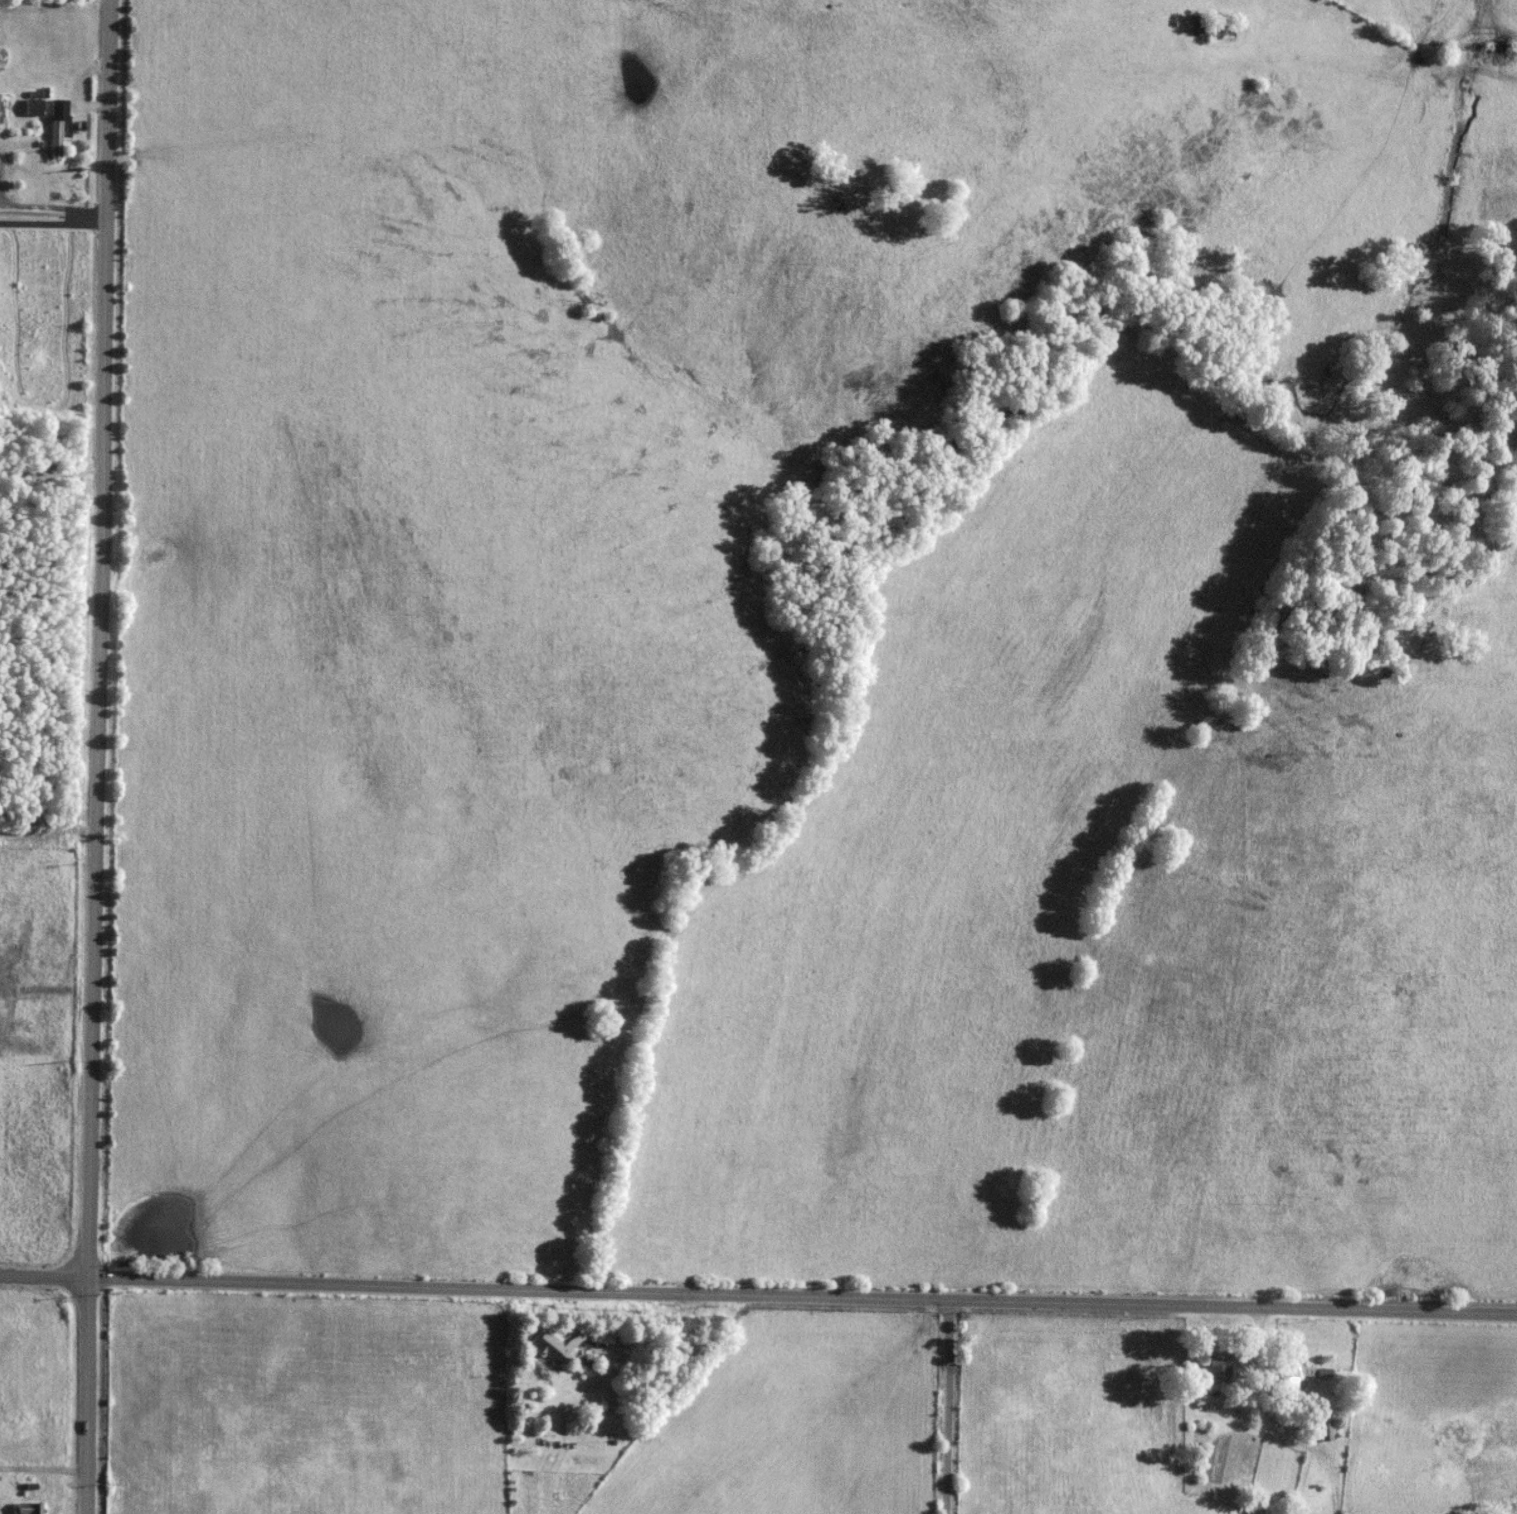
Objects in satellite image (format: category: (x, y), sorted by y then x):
building: (1213, 24)
building: (31, 107)
building: (57, 124)
road: (54, 221)
road: (50, 470)
road: (99, 756)
road: (758, 1289)
building: (554, 1348)
building: (1216, 1366)
building: (1294, 1377)
road: (953, 1404)
building: (1317, 1426)
building: (24, 1509)

